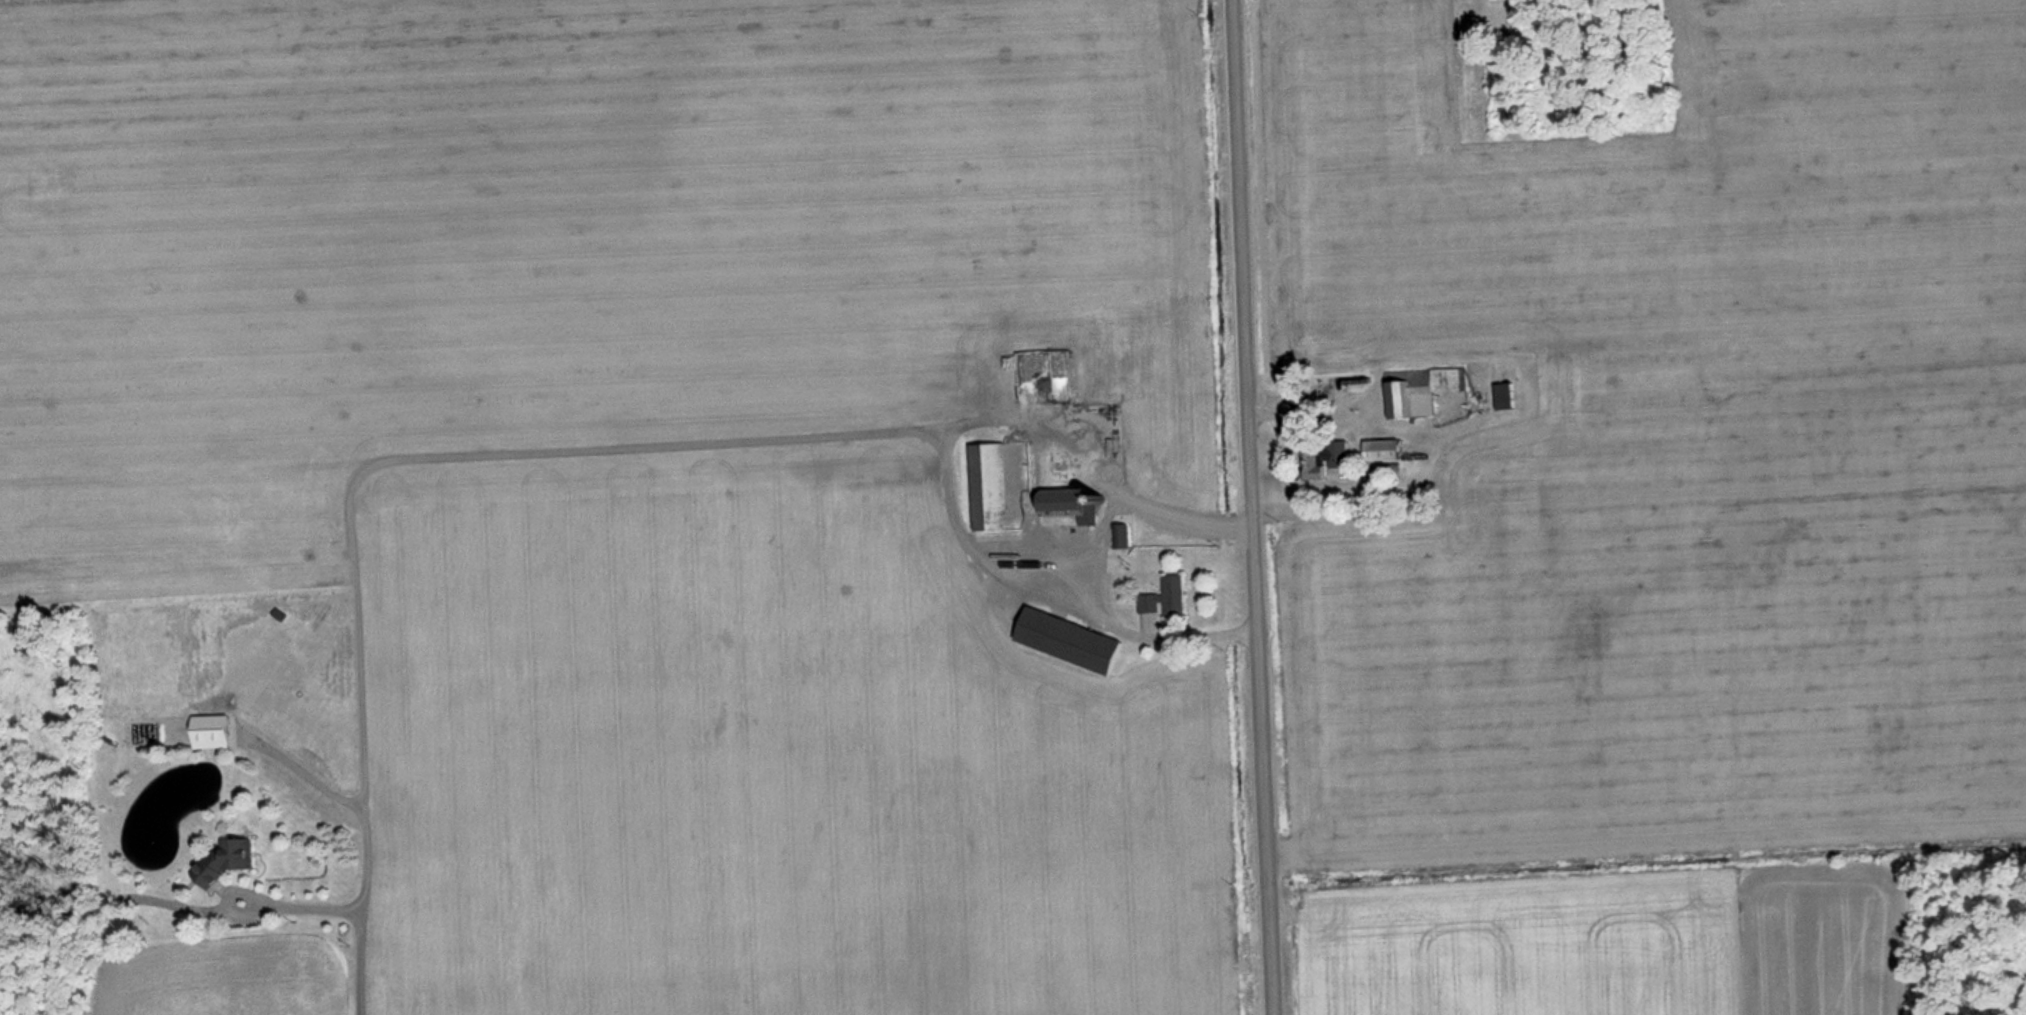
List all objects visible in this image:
building: (1424, 391)
building: (1509, 397)
road: (593, 450)
building: (1387, 451)
building: (1326, 460)
building: (994, 487)
building: (1063, 504)
road: (1253, 507)
building: (1123, 536)
building: (1169, 597)
building: (1074, 641)
building: (217, 732)
building: (230, 860)
road: (299, 906)

